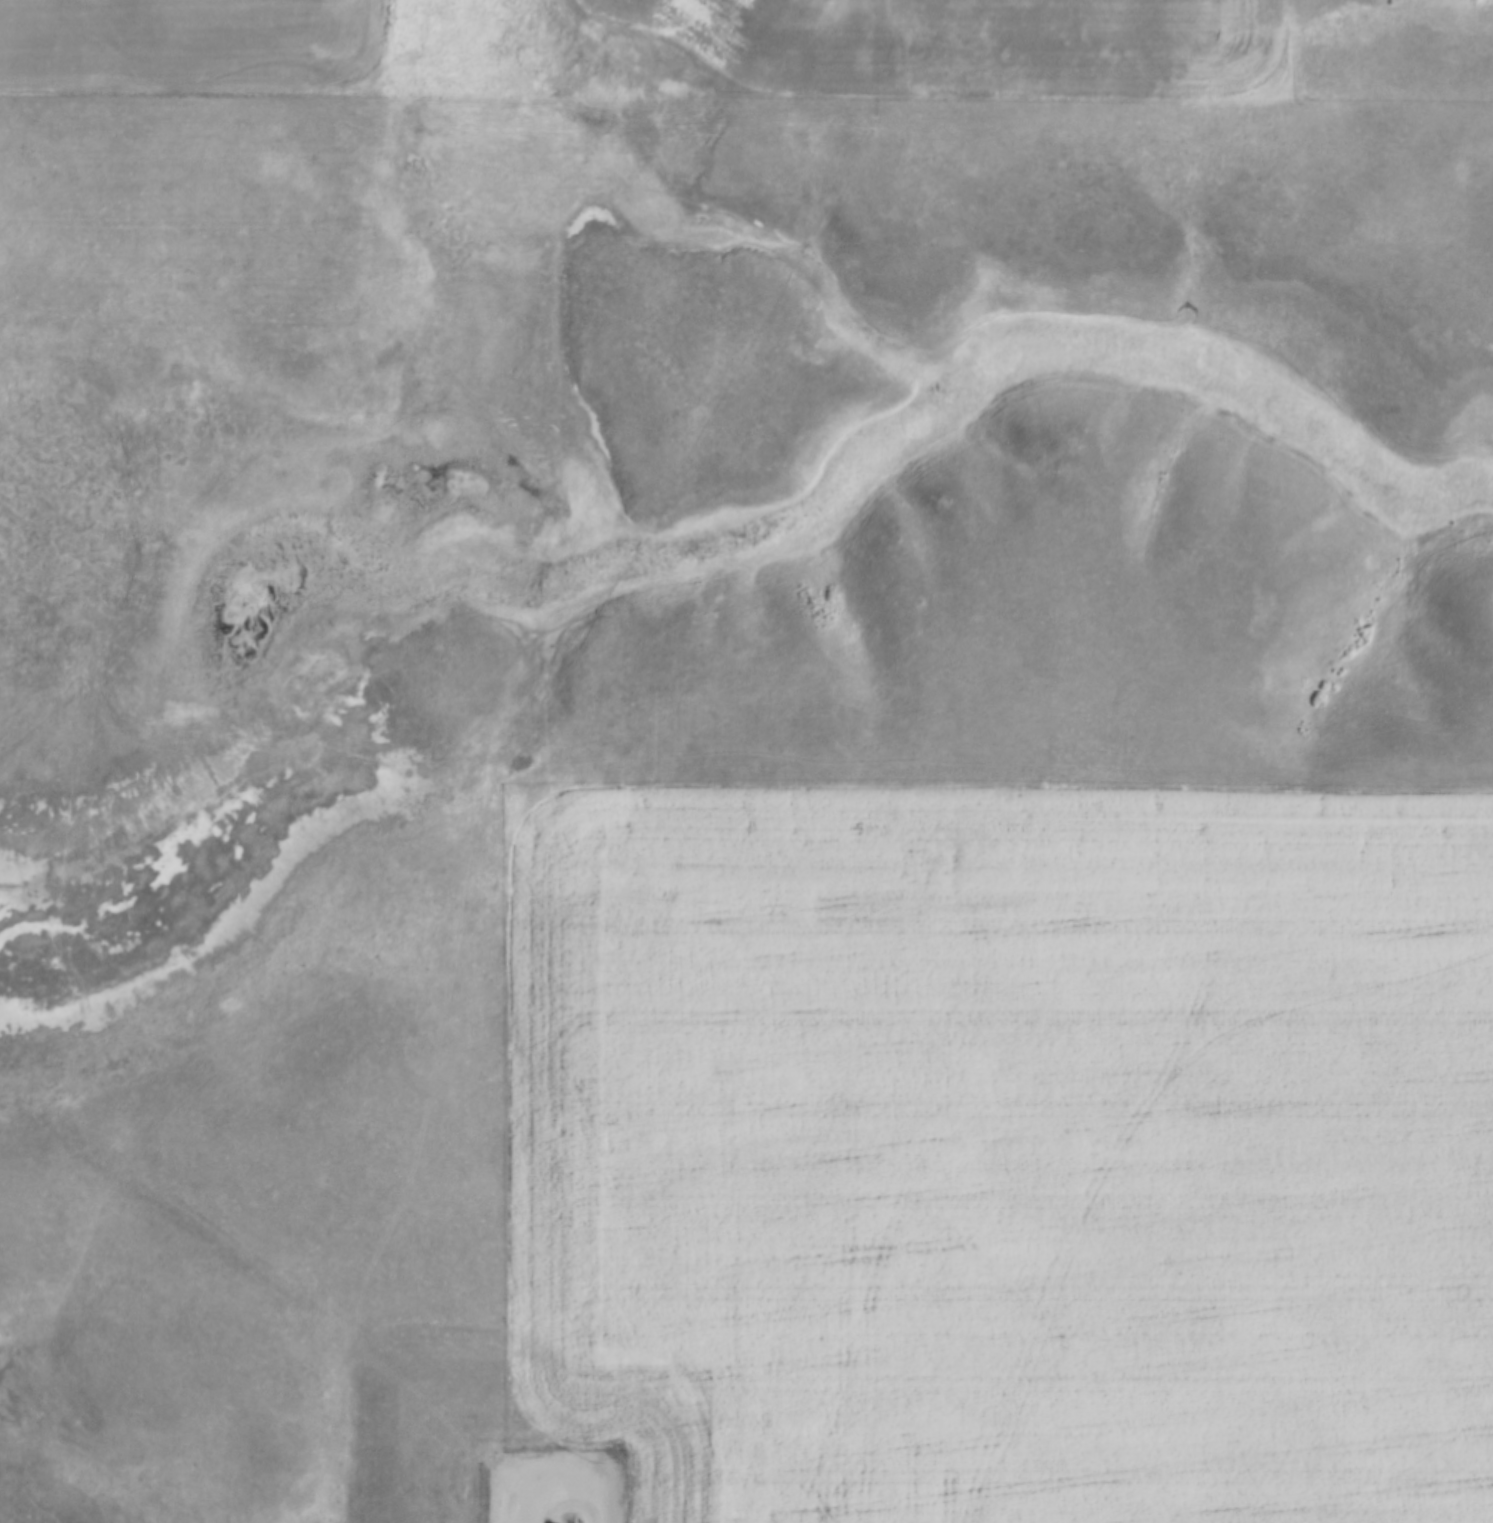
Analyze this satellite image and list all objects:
road: (525, 1491)

